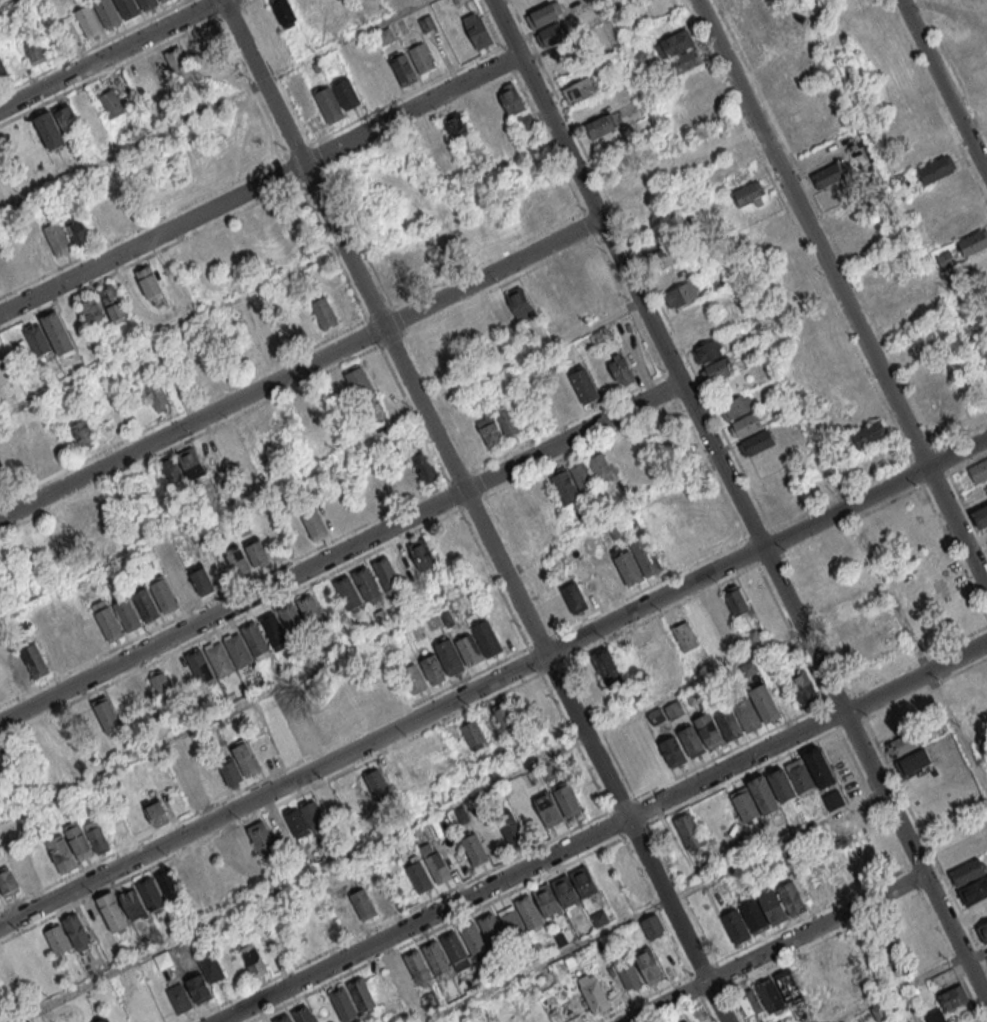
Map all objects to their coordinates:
building: (159, 0)
building: (459, 1)
building: (729, 1)
building: (166, 2)
building: (465, 2)
road: (8, 4)
building: (150, 4)
building: (660, 6)
building: (129, 9)
building: (109, 14)
building: (286, 14)
building: (544, 15)
building: (264, 20)
building: (91, 24)
building: (551, 34)
building: (480, 35)
building: (781, 37)
building: (388, 38)
building: (676, 43)
road: (95, 47)
building: (34, 52)
road: (112, 55)
building: (283, 57)
building: (424, 60)
building: (686, 61)
road: (122, 66)
building: (777, 66)
building: (181, 67)
building: (2, 71)
building: (406, 72)
building: (140, 78)
road: (943, 88)
building: (579, 90)
building: (982, 97)
building: (349, 98)
building: (113, 105)
road: (213, 106)
building: (515, 107)
building: (332, 108)
building: (494, 112)
building: (986, 112)
building: (602, 125)
building: (455, 126)
building: (921, 130)
building: (51, 134)
building: (724, 138)
building: (438, 139)
building: (511, 145)
building: (930, 149)
building: (936, 169)
building: (456, 172)
building: (826, 176)
building: (899, 176)
building: (625, 181)
road: (261, 184)
road: (894, 186)
building: (748, 195)
building: (541, 208)
building: (646, 220)
building: (966, 223)
road: (143, 228)
building: (57, 238)
building: (973, 242)
building: (663, 257)
building: (944, 259)
building: (978, 263)
building: (5, 266)
building: (414, 276)
building: (670, 276)
building: (985, 277)
building: (152, 286)
road: (844, 289)
building: (681, 294)
building: (518, 301)
building: (113, 305)
building: (91, 310)
building: (324, 313)
building: (482, 322)
road: (173, 330)
building: (57, 333)
road: (762, 336)
building: (267, 338)
building: (444, 339)
building: (37, 340)
building: (706, 352)
building: (620, 369)
road: (301, 370)
building: (716, 370)
building: (357, 381)
building: (587, 390)
building: (563, 392)
building: (158, 397)
building: (938, 400)
building: (736, 406)
building: (301, 407)
building: (507, 423)
building: (746, 425)
building: (490, 431)
building: (83, 433)
building: (867, 435)
road: (576, 437)
building: (756, 443)
building: (230, 448)
building: (45, 452)
road: (321, 458)
building: (600, 467)
building: (181, 468)
building: (427, 469)
building: (978, 471)
building: (581, 476)
building: (563, 485)
building: (525, 502)
road: (741, 503)
road: (478, 511)
building: (92, 515)
building: (315, 525)
building: (683, 539)
road: (767, 545)
building: (665, 550)
building: (256, 552)
building: (425, 557)
building: (646, 558)
building: (236, 561)
building: (934, 563)
building: (628, 569)
building: (388, 575)
building: (609, 579)
building: (204, 581)
building: (368, 585)
building: (185, 589)
building: (349, 594)
building: (572, 597)
building: (166, 598)
building: (735, 600)
building: (148, 606)
road: (234, 607)
building: (716, 608)
building: (311, 612)
building: (838, 612)
building: (129, 617)
building: (699, 617)
building: (294, 622)
building: (111, 626)
building: (846, 630)
building: (275, 631)
building: (71, 639)
building: (752, 639)
building: (256, 641)
building: (478, 643)
building: (657, 644)
building: (788, 649)
building: (240, 652)
building: (448, 656)
building: (221, 662)
road: (328, 662)
building: (36, 663)
building: (201, 668)
building: (607, 668)
building: (432, 669)
building: (19, 672)
building: (180, 678)
building: (658, 678)
building: (413, 679)
building: (978, 680)
building: (4, 685)
building: (160, 686)
building: (803, 687)
building: (141, 693)
building: (764, 703)
building: (541, 708)
building: (746, 713)
building: (106, 714)
building: (504, 718)
building: (728, 722)
building: (70, 733)
building: (473, 734)
building: (302, 735)
building: (700, 735)
building: (905, 742)
building: (285, 745)
building: (671, 751)
building: (245, 759)
building: (914, 761)
building: (820, 764)
building: (231, 773)
building: (801, 773)
building: (782, 782)
building: (188, 783)
building: (210, 783)
building: (380, 788)
road: (274, 789)
building: (763, 795)
building: (567, 801)
building: (745, 804)
building: (548, 810)
building: (155, 812)
building: (313, 814)
road: (598, 817)
road: (409, 825)
building: (510, 830)
road: (602, 831)
building: (688, 831)
building: (86, 838)
building: (254, 844)
building: (474, 848)
building: (61, 853)
building: (434, 862)
building: (968, 871)
building: (16, 875)
building: (418, 875)
building: (187, 878)
building: (168, 884)
building: (586, 886)
building: (975, 890)
building: (150, 893)
road: (851, 894)
building: (567, 895)
building: (0, 898)
building: (383, 898)
building: (792, 898)
building: (132, 904)
building: (363, 904)
building: (549, 905)
road: (653, 907)
road: (656, 907)
building: (774, 907)
building: (112, 912)
building: (345, 913)
building: (530, 915)
building: (753, 916)
building: (511, 922)
building: (736, 925)
building: (653, 926)
building: (77, 931)
building: (493, 932)
building: (983, 933)
building: (57, 939)
building: (475, 942)
road: (777, 948)
building: (457, 951)
road: (976, 955)
building: (843, 956)
building: (252, 958)
building: (437, 960)
building: (651, 966)
building: (419, 970)
building: (628, 971)
building: (398, 972)
building: (204, 978)
building: (807, 978)
road: (677, 982)
building: (789, 985)
road: (898, 989)
building: (770, 994)
building: (596, 995)
building: (363, 997)
building: (952, 997)
building: (179, 998)
building: (749, 1003)
road: (737, 1005)
building: (344, 1007)
building: (304, 1016)
building: (934, 1016)
building: (100, 1018)
building: (287, 1020)
building: (686, 1021)
building: (914, 1021)

